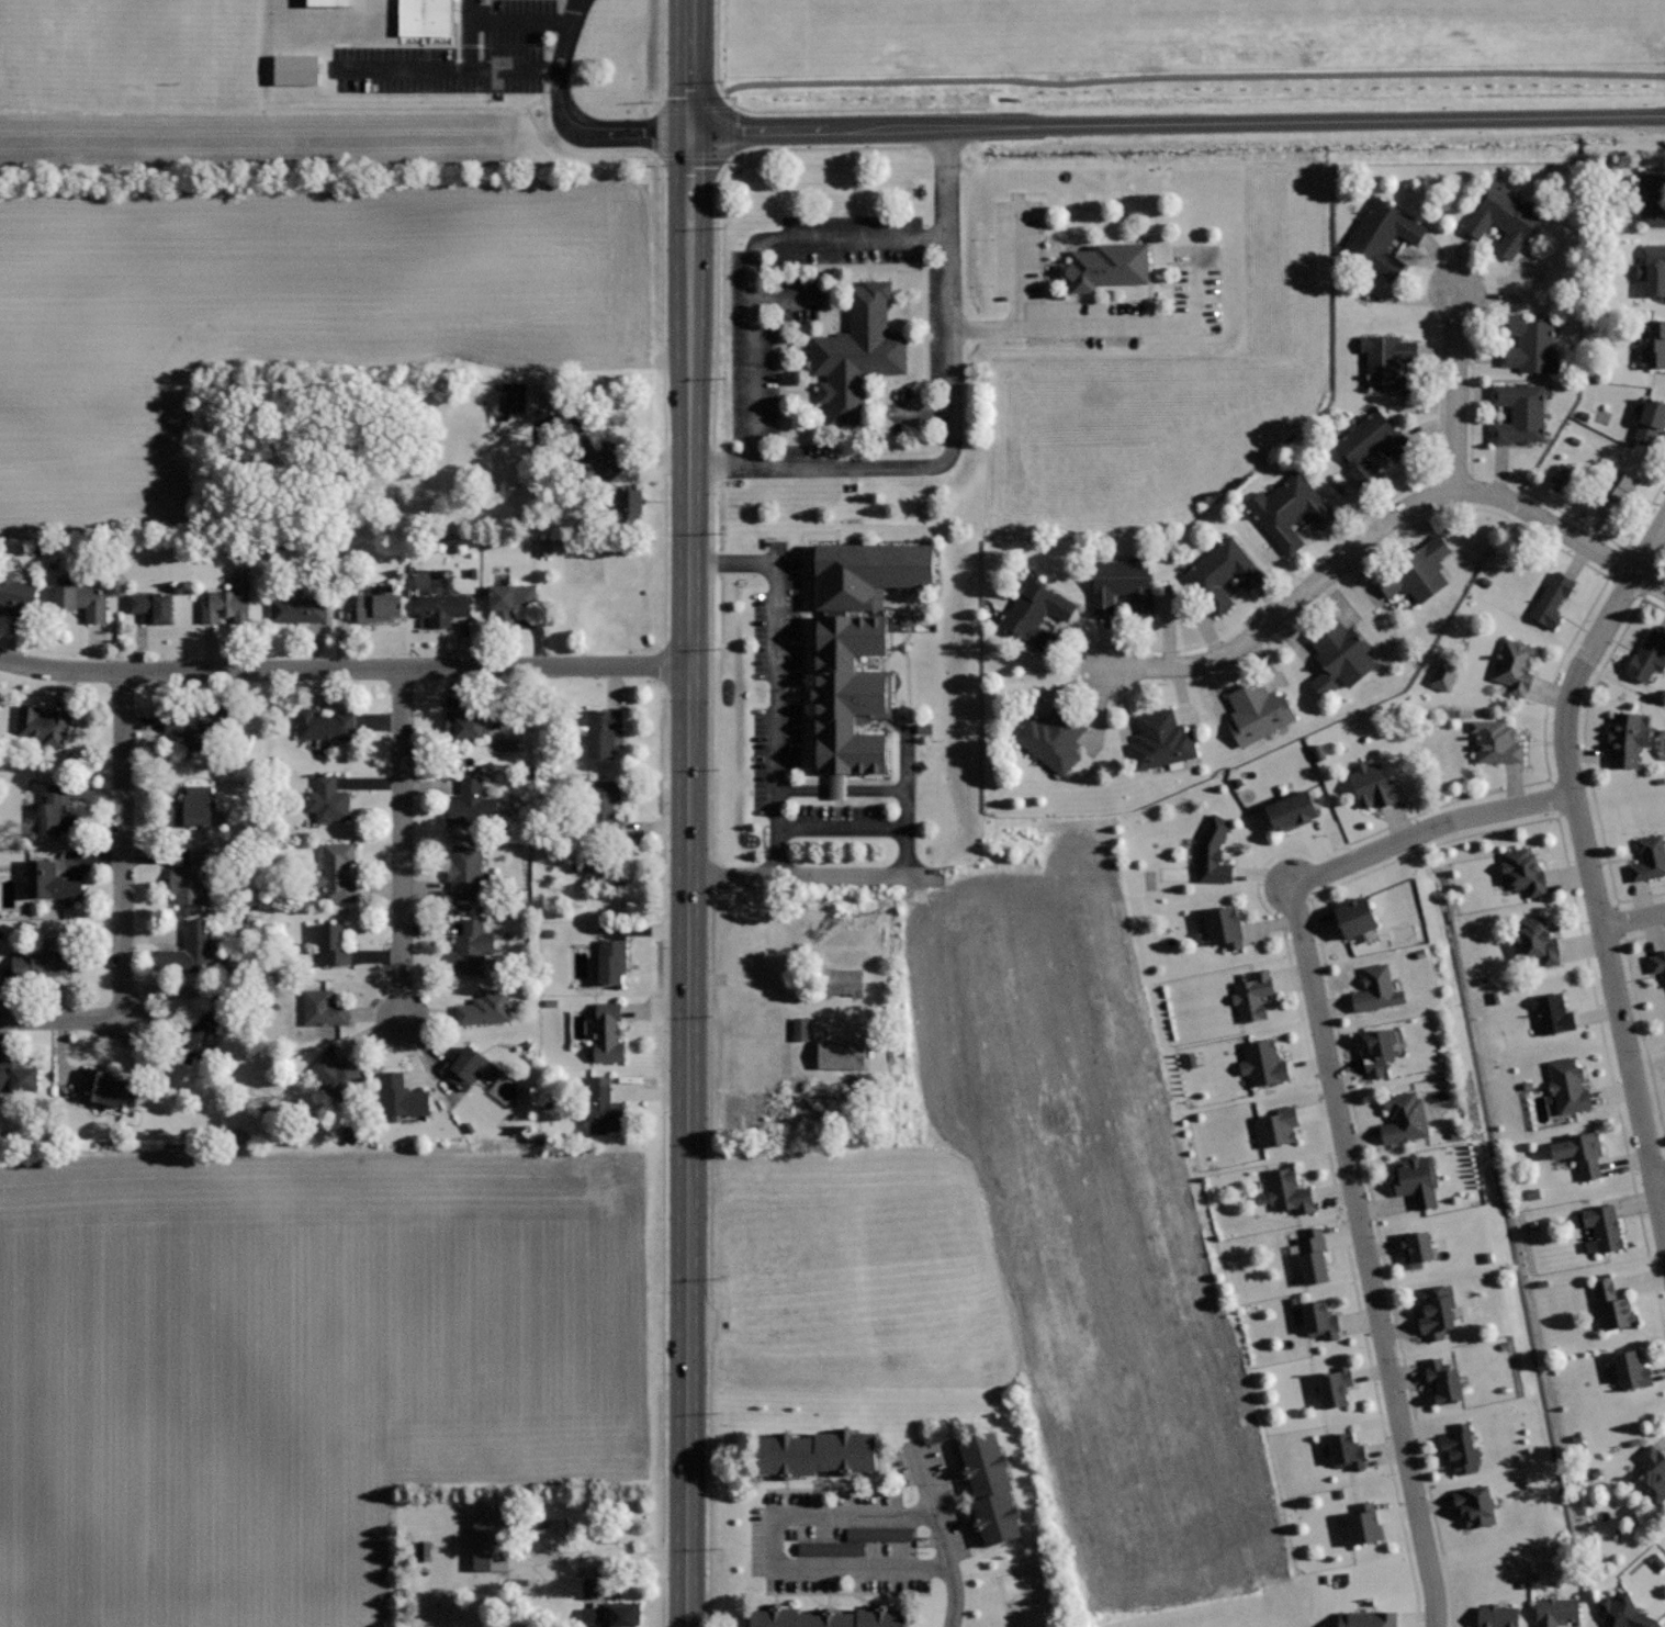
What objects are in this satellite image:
parking lot: (594, 0)
building: (322, 2)
building: (421, 18)
road: (522, 23)
road: (470, 36)
road: (689, 65)
parking lot: (496, 66)
building: (293, 70)
road: (446, 74)
road: (1192, 77)
road: (802, 111)
road: (569, 117)
road: (1177, 123)
building: (1653, 197)
building: (1504, 215)
building: (1383, 235)
road: (754, 258)
road: (1020, 260)
building: (1105, 266)
building: (1653, 270)
parking lot: (1194, 271)
road: (1115, 325)
parking lot: (847, 344)
building: (1529, 344)
building: (1655, 345)
building: (858, 350)
building: (1391, 363)
road: (1455, 390)
building: (507, 396)
building: (1519, 413)
building: (1651, 419)
road: (953, 423)
building: (1371, 447)
road: (1516, 485)
building: (1617, 492)
building: (629, 505)
building: (1290, 509)
road: (1382, 528)
road: (1349, 529)
road: (1661, 566)
building: (1417, 570)
building: (1223, 574)
building: (1122, 582)
building: (16, 594)
building: (82, 599)
building: (1552, 599)
building: (229, 601)
building: (510, 602)
building: (379, 604)
building: (154, 605)
building: (445, 607)
building: (299, 609)
building: (1036, 611)
building: (1341, 650)
building: (1647, 654)
building: (1515, 665)
road: (344, 669)
road: (780, 673)
building: (1442, 674)
building: (837, 702)
parking lot: (785, 704)
building: (1259, 710)
building: (196, 719)
building: (42, 725)
building: (325, 725)
building: (465, 725)
building: (599, 730)
building: (1053, 737)
building: (1627, 739)
building: (1162, 741)
building: (1497, 741)
road: (1585, 754)
building: (1373, 785)
road: (843, 793)
road: (711, 794)
building: (328, 798)
building: (606, 798)
road: (905, 800)
building: (472, 803)
building: (1292, 809)
building: (58, 810)
building: (190, 810)
road: (1393, 824)
road: (843, 832)
road: (402, 843)
road: (124, 844)
building: (1214, 850)
building: (593, 855)
building: (1650, 857)
road: (1589, 867)
building: (466, 869)
building: (338, 871)
building: (1523, 871)
building: (192, 877)
road: (814, 877)
road: (688, 878)
building: (53, 883)
road: (1331, 887)
building: (1355, 917)
road: (1633, 919)
building: (1224, 928)
building: (1539, 939)
building: (334, 944)
building: (472, 946)
building: (193, 950)
building: (611, 960)
building: (1657, 960)
building: (45, 964)
building: (839, 983)
building: (1376, 989)
building: (1253, 995)
building: (324, 1008)
building: (486, 1008)
building: (1553, 1013)
road: (61, 1019)
road: (1640, 1019)
building: (799, 1030)
building: (608, 1031)
building: (195, 1034)
building: (1379, 1050)
building: (836, 1055)
building: (1188, 1059)
building: (1263, 1063)
building: (466, 1066)
building: (18, 1075)
building: (338, 1077)
building: (1568, 1087)
building: (103, 1088)
building: (401, 1099)
building: (604, 1107)
road: (1337, 1112)
building: (1405, 1117)
building: (1276, 1126)
building: (1580, 1153)
road: (1660, 1179)
building: (1416, 1180)
building: (1287, 1191)
building: (1605, 1225)
building: (1416, 1248)
building: (1313, 1255)
building: (1613, 1305)
building: (1437, 1311)
building: (1320, 1320)
building: (1632, 1369)
building: (1443, 1381)
building: (1336, 1384)
building: (1460, 1447)
building: (1347, 1450)
building: (817, 1451)
building: (1652, 1474)
building: (990, 1488)
building: (1475, 1505)
building: (1364, 1523)
parking lot: (857, 1531)
road: (940, 1535)
building: (855, 1540)
building: (483, 1542)
road: (779, 1546)
building: (519, 1586)
building: (1555, 1611)
building: (1624, 1612)
building: (614, 1614)
building: (1498, 1616)
building: (1369, 1618)
building: (831, 1619)

